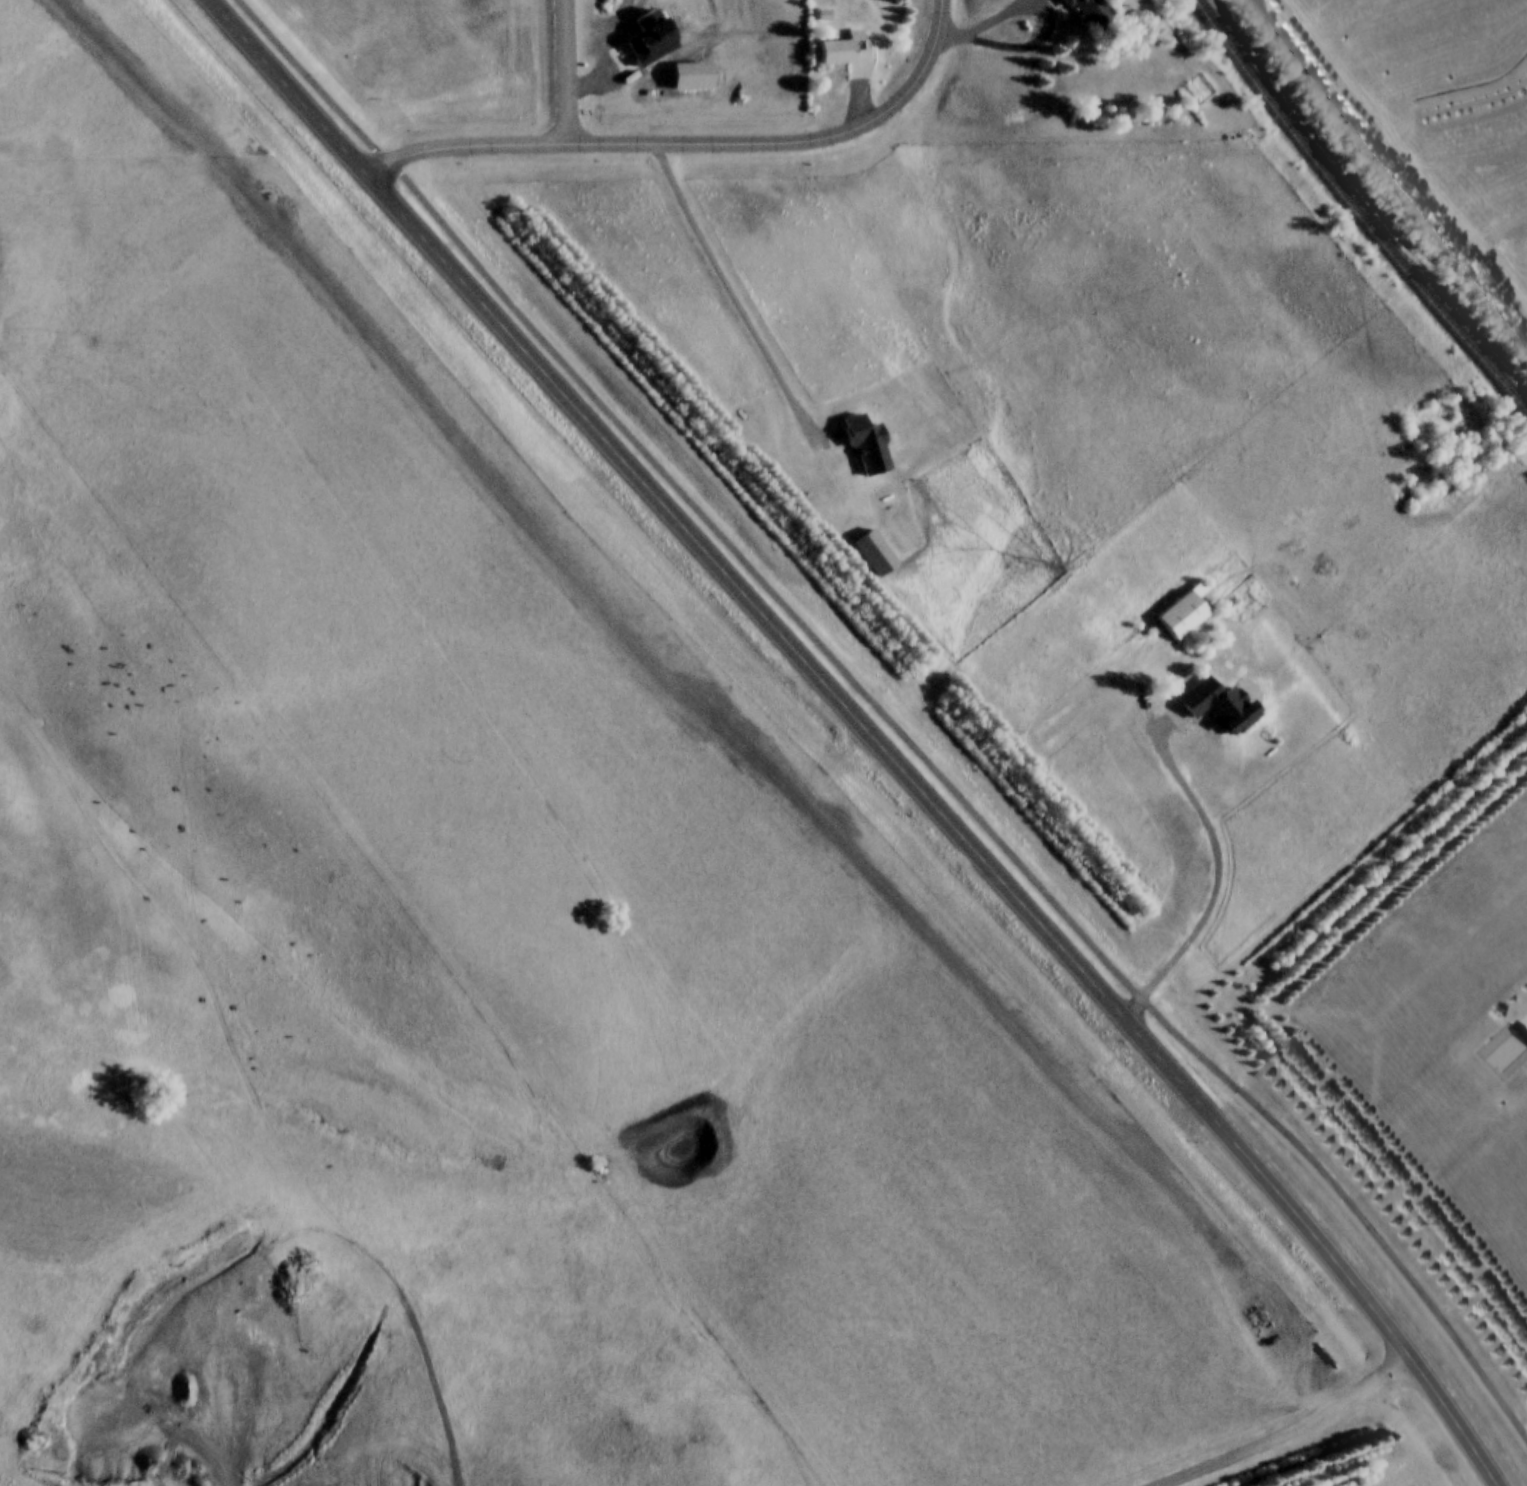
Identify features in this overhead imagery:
building: (1083, 13)
road: (1046, 31)
building: (844, 53)
road: (692, 143)
railway: (1355, 208)
building: (864, 445)
building: (873, 554)
building: (1183, 612)
building: (1218, 707)
road: (886, 718)
road: (867, 733)
road: (1211, 831)
building: (1505, 1051)
road: (1299, 1435)
quarry: (417, 1473)

